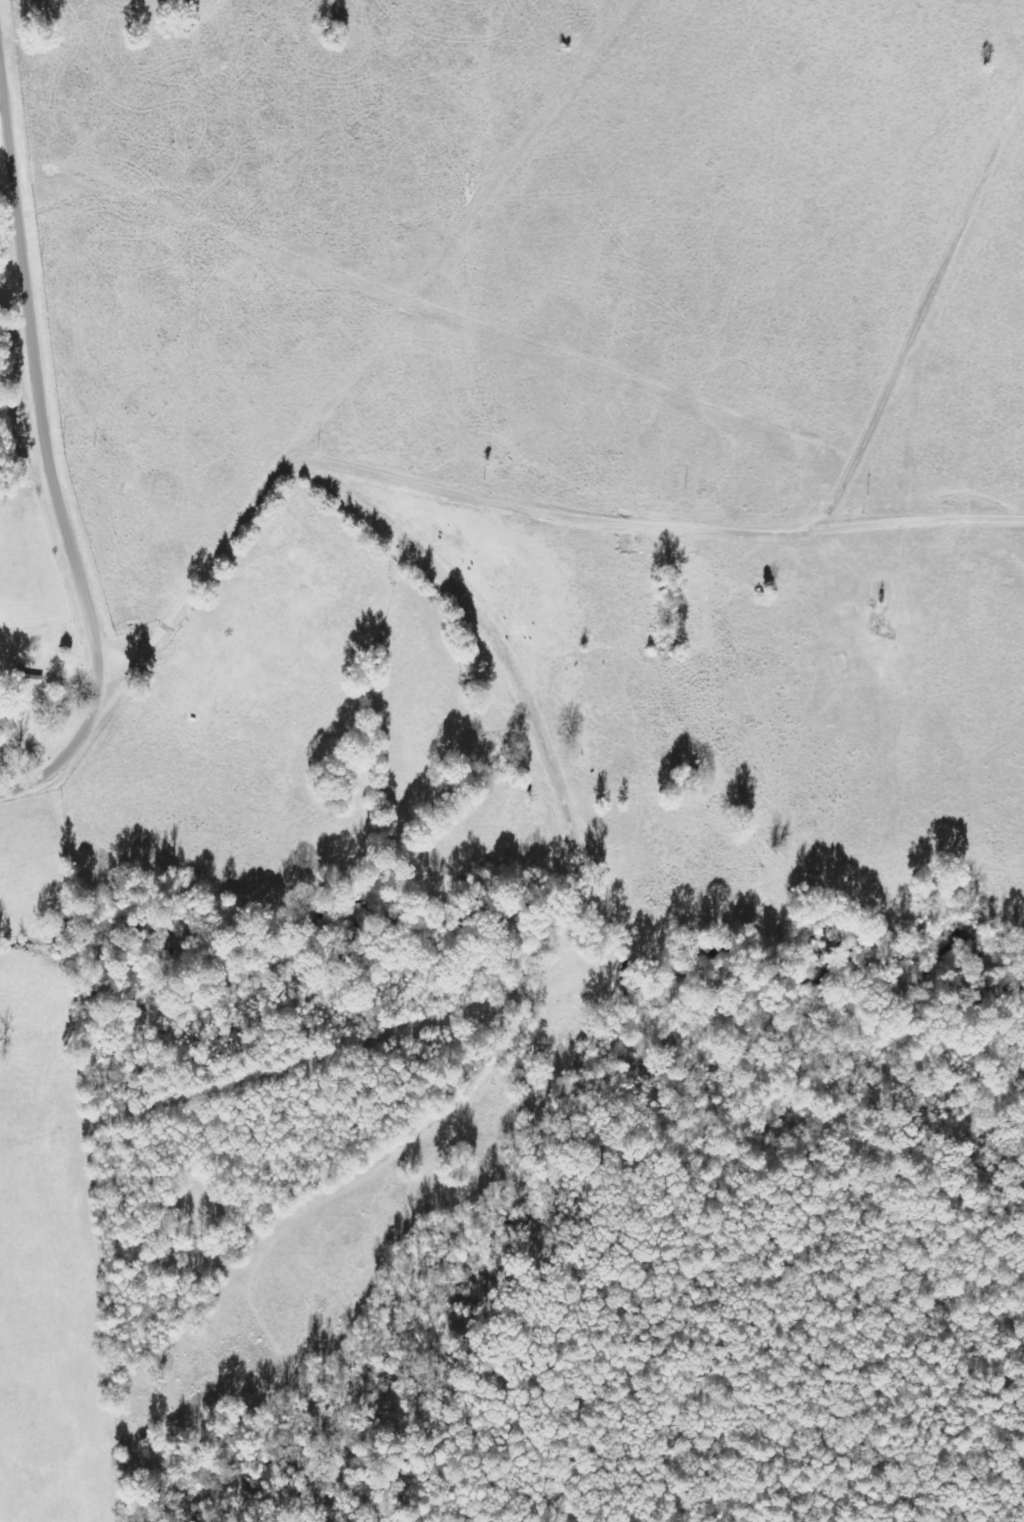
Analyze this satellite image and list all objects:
road: (395, 435)
road: (44, 467)
road: (562, 808)

